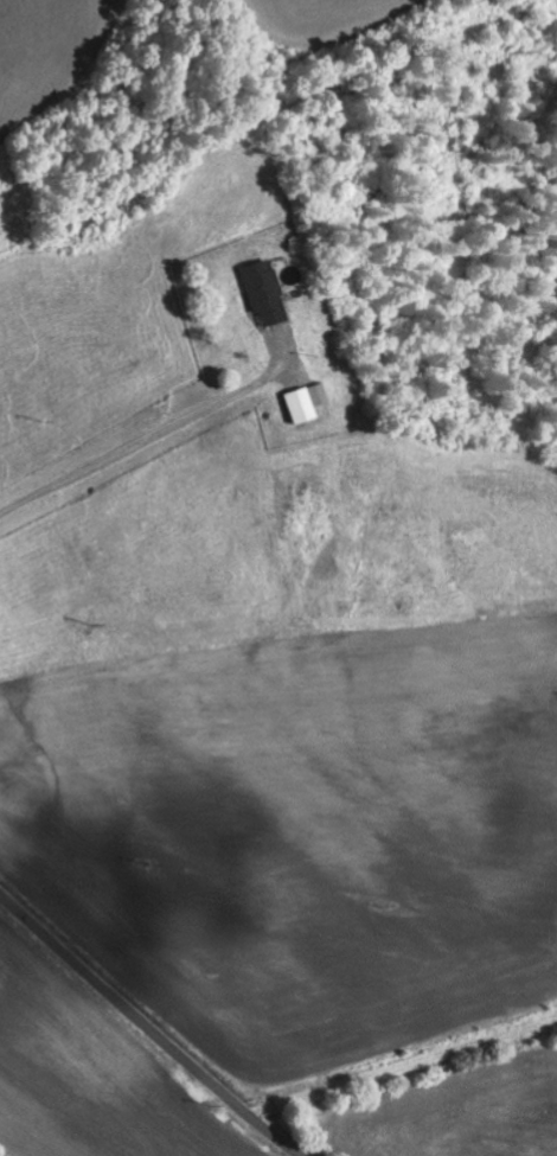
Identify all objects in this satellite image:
building: (268, 294)
building: (308, 403)
road: (146, 1028)

